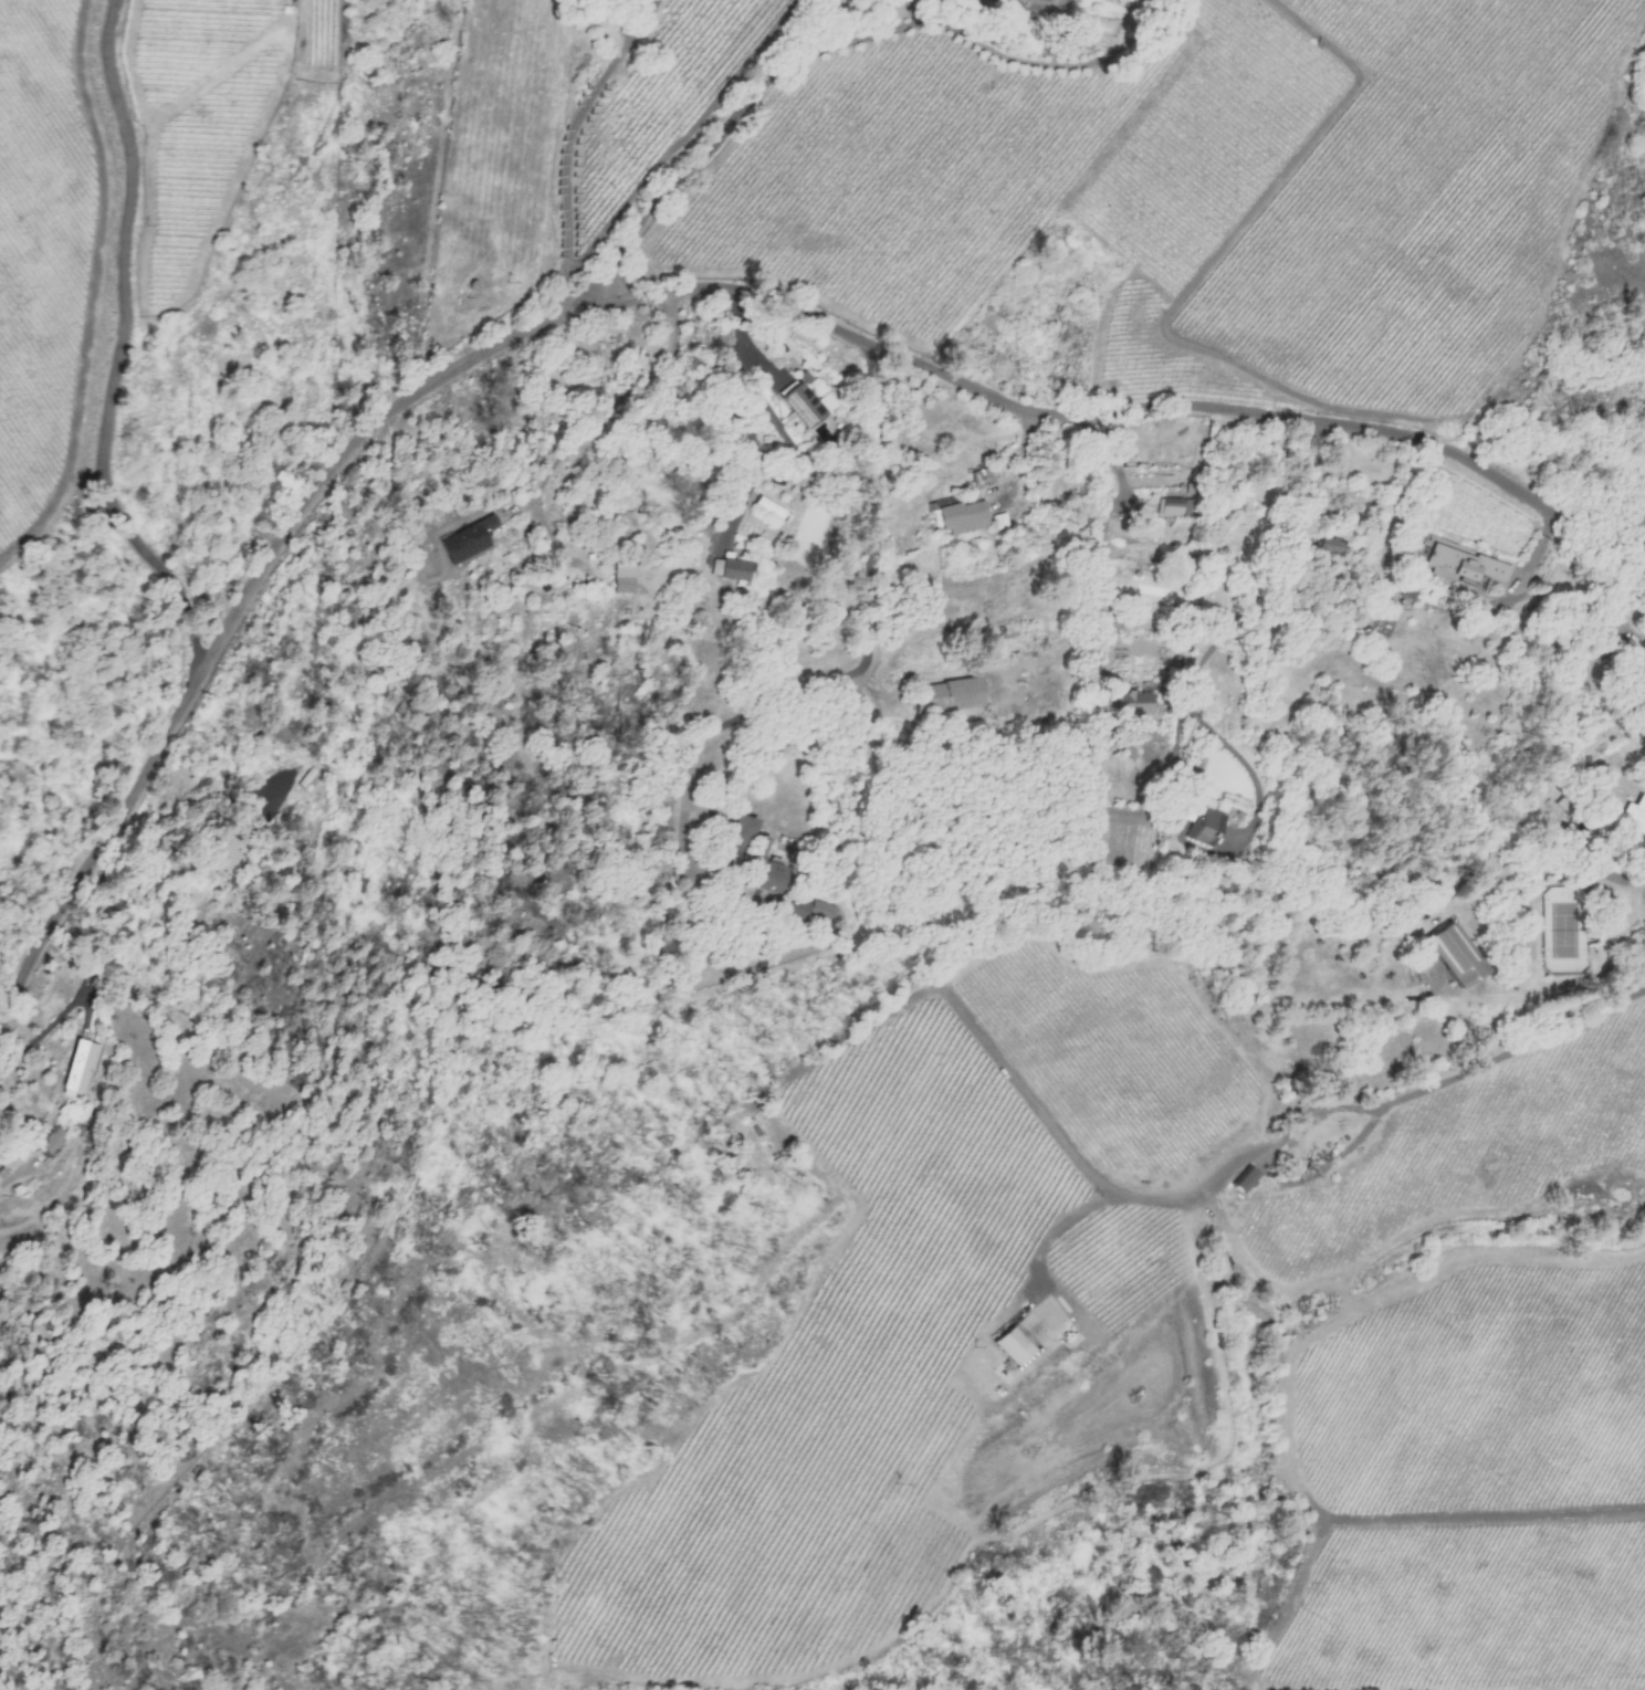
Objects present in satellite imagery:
building: (1006, 0)
building: (1042, 6)
road: (568, 141)
road: (704, 154)
road: (116, 343)
road: (1118, 405)
building: (804, 406)
road: (595, 428)
building: (1173, 507)
building: (963, 517)
building: (1329, 546)
building: (1461, 565)
building: (727, 568)
building: (620, 580)
building: (1406, 592)
road: (232, 619)
road: (867, 629)
building: (946, 696)
building: (1132, 704)
building: (1635, 815)
building: (1201, 827)
building: (227, 858)
road: (1558, 858)
building: (768, 878)
building: (807, 909)
building: (1452, 956)
building: (76, 1068)
road: (1311, 1116)
building: (49, 1142)
building: (1243, 1182)
building: (1012, 1345)

